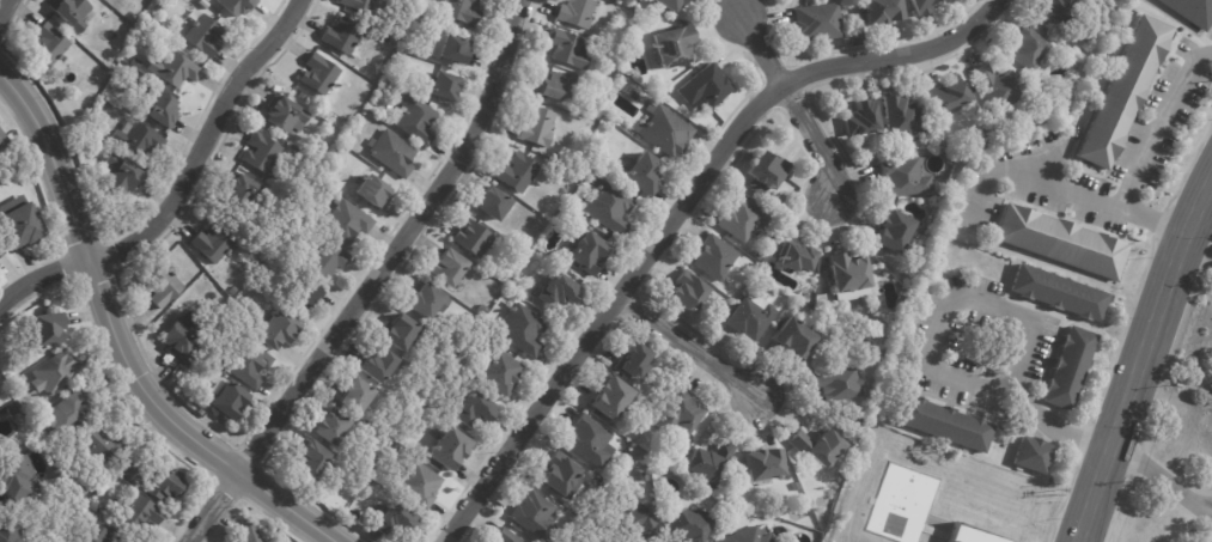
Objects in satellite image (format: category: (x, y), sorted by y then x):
building: (686, 0)
building: (668, 4)
building: (358, 5)
building: (236, 6)
building: (920, 6)
road: (4, 7)
building: (881, 10)
building: (1058, 10)
building: (1194, 10)
building: (464, 11)
building: (71, 12)
building: (577, 12)
building: (1125, 13)
building: (817, 22)
building: (637, 24)
building: (162, 28)
building: (203, 35)
building: (341, 35)
building: (47, 43)
building: (670, 47)
building: (566, 48)
road: (763, 48)
building: (1029, 48)
building: (453, 49)
building: (418, 50)
building: (402, 59)
building: (133, 62)
building: (175, 69)
building: (1027, 73)
building: (99, 74)
building: (318, 74)
building: (443, 85)
building: (705, 86)
building: (554, 87)
building: (998, 91)
building: (1122, 91)
building: (302, 95)
building: (662, 95)
building: (948, 96)
building: (597, 98)
building: (158, 109)
building: (596, 110)
building: (284, 114)
building: (901, 116)
building: (414, 118)
building: (861, 118)
road: (1158, 121)
building: (537, 127)
building: (664, 130)
building: (135, 138)
road: (814, 139)
building: (5, 141)
road: (203, 145)
building: (260, 152)
building: (391, 153)
building: (315, 156)
building: (334, 163)
building: (517, 171)
building: (767, 171)
building: (641, 175)
building: (120, 176)
building: (903, 177)
road: (1064, 185)
building: (240, 190)
building: (370, 191)
building: (774, 201)
building: (491, 203)
building: (608, 207)
road: (684, 213)
building: (785, 217)
building: (742, 220)
building: (24, 223)
building: (345, 223)
building: (891, 231)
building: (470, 238)
building: (526, 240)
building: (1060, 242)
building: (212, 243)
road: (402, 248)
building: (2, 250)
building: (586, 251)
building: (757, 255)
building: (714, 257)
building: (796, 258)
building: (325, 261)
building: (446, 267)
building: (846, 272)
building: (162, 284)
road: (41, 285)
building: (456, 285)
building: (556, 288)
building: (233, 290)
building: (687, 291)
building: (1060, 291)
building: (808, 296)
building: (304, 297)
building: (425, 299)
building: (482, 309)
building: (750, 317)
road: (1017, 317)
building: (55, 328)
building: (522, 328)
building: (273, 331)
building: (397, 331)
building: (793, 339)
road: (120, 340)
building: (176, 340)
road: (700, 352)
building: (631, 361)
building: (246, 364)
building: (378, 364)
building: (1076, 366)
road: (1141, 366)
building: (60, 371)
building: (500, 373)
building: (838, 383)
building: (354, 395)
building: (608, 397)
building: (224, 398)
building: (413, 406)
building: (14, 409)
building: (474, 409)
building: (200, 412)
building: (71, 413)
building: (680, 415)
building: (948, 425)
building: (330, 427)
building: (847, 430)
building: (587, 440)
building: (106, 443)
building: (817, 445)
building: (447, 449)
building: (1, 453)
building: (1039, 453)
building: (309, 457)
building: (709, 464)
building: (762, 464)
building: (132, 469)
building: (558, 473)
building: (646, 475)
building: (363, 479)
road: (1163, 480)
building: (22, 482)
building: (171, 485)
building: (420, 486)
building: (798, 487)
building: (96, 508)
road: (218, 508)
road: (1207, 508)
building: (146, 513)
building: (532, 516)
building: (394, 522)
building: (638, 522)
building: (689, 523)
building: (11, 532)
building: (980, 534)
building: (105, 535)
building: (505, 535)
building: (257, 536)
building: (744, 536)
building: (65, 541)
building: (72, 541)
building: (585, 541)
building: (597, 541)

